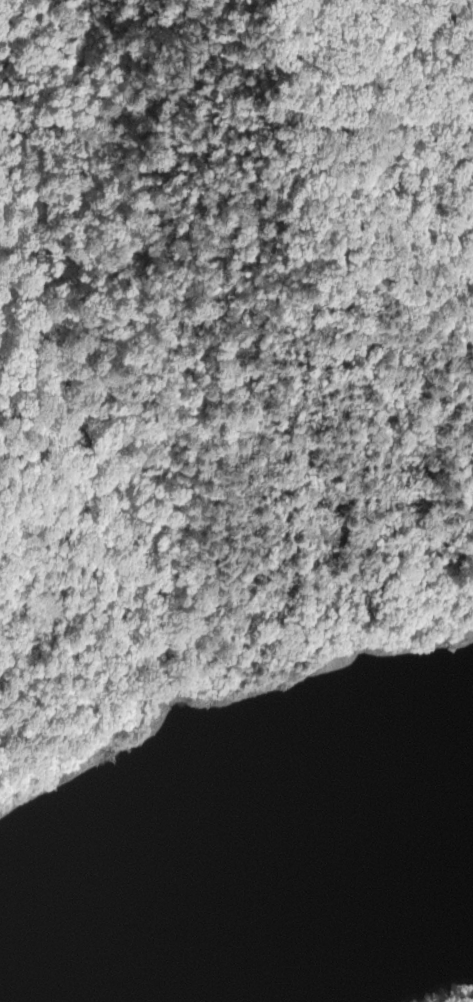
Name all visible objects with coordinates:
river: (239, 856)

